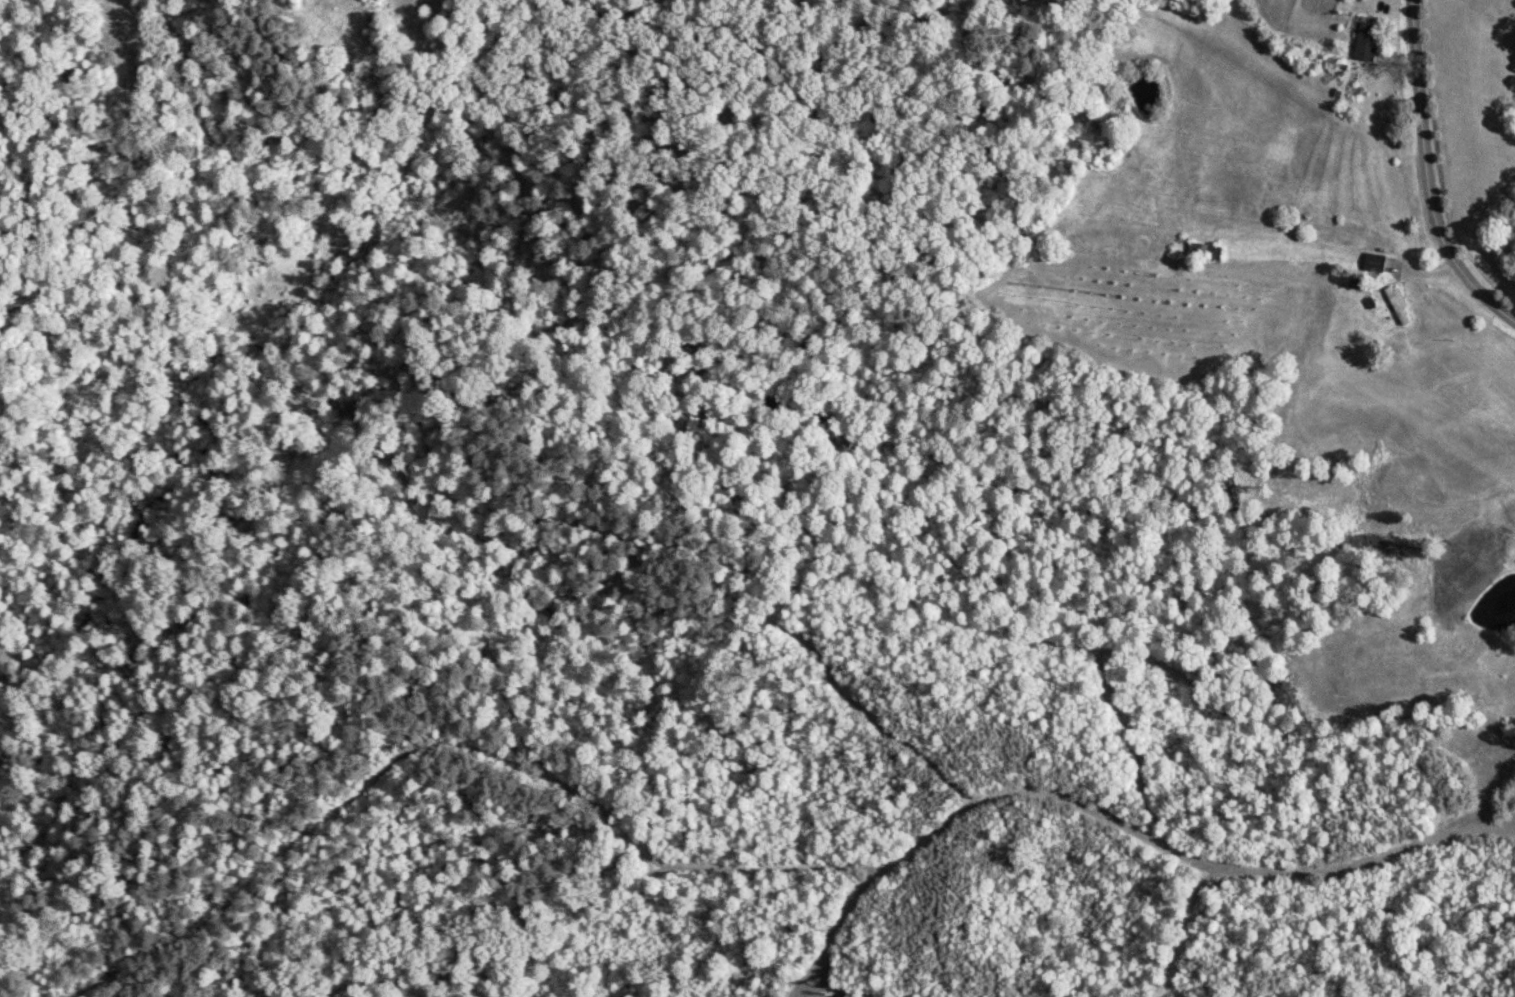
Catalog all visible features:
building: (1366, 41)
road: (1425, 160)
building: (1201, 252)
building: (1374, 262)
building: (1398, 305)

